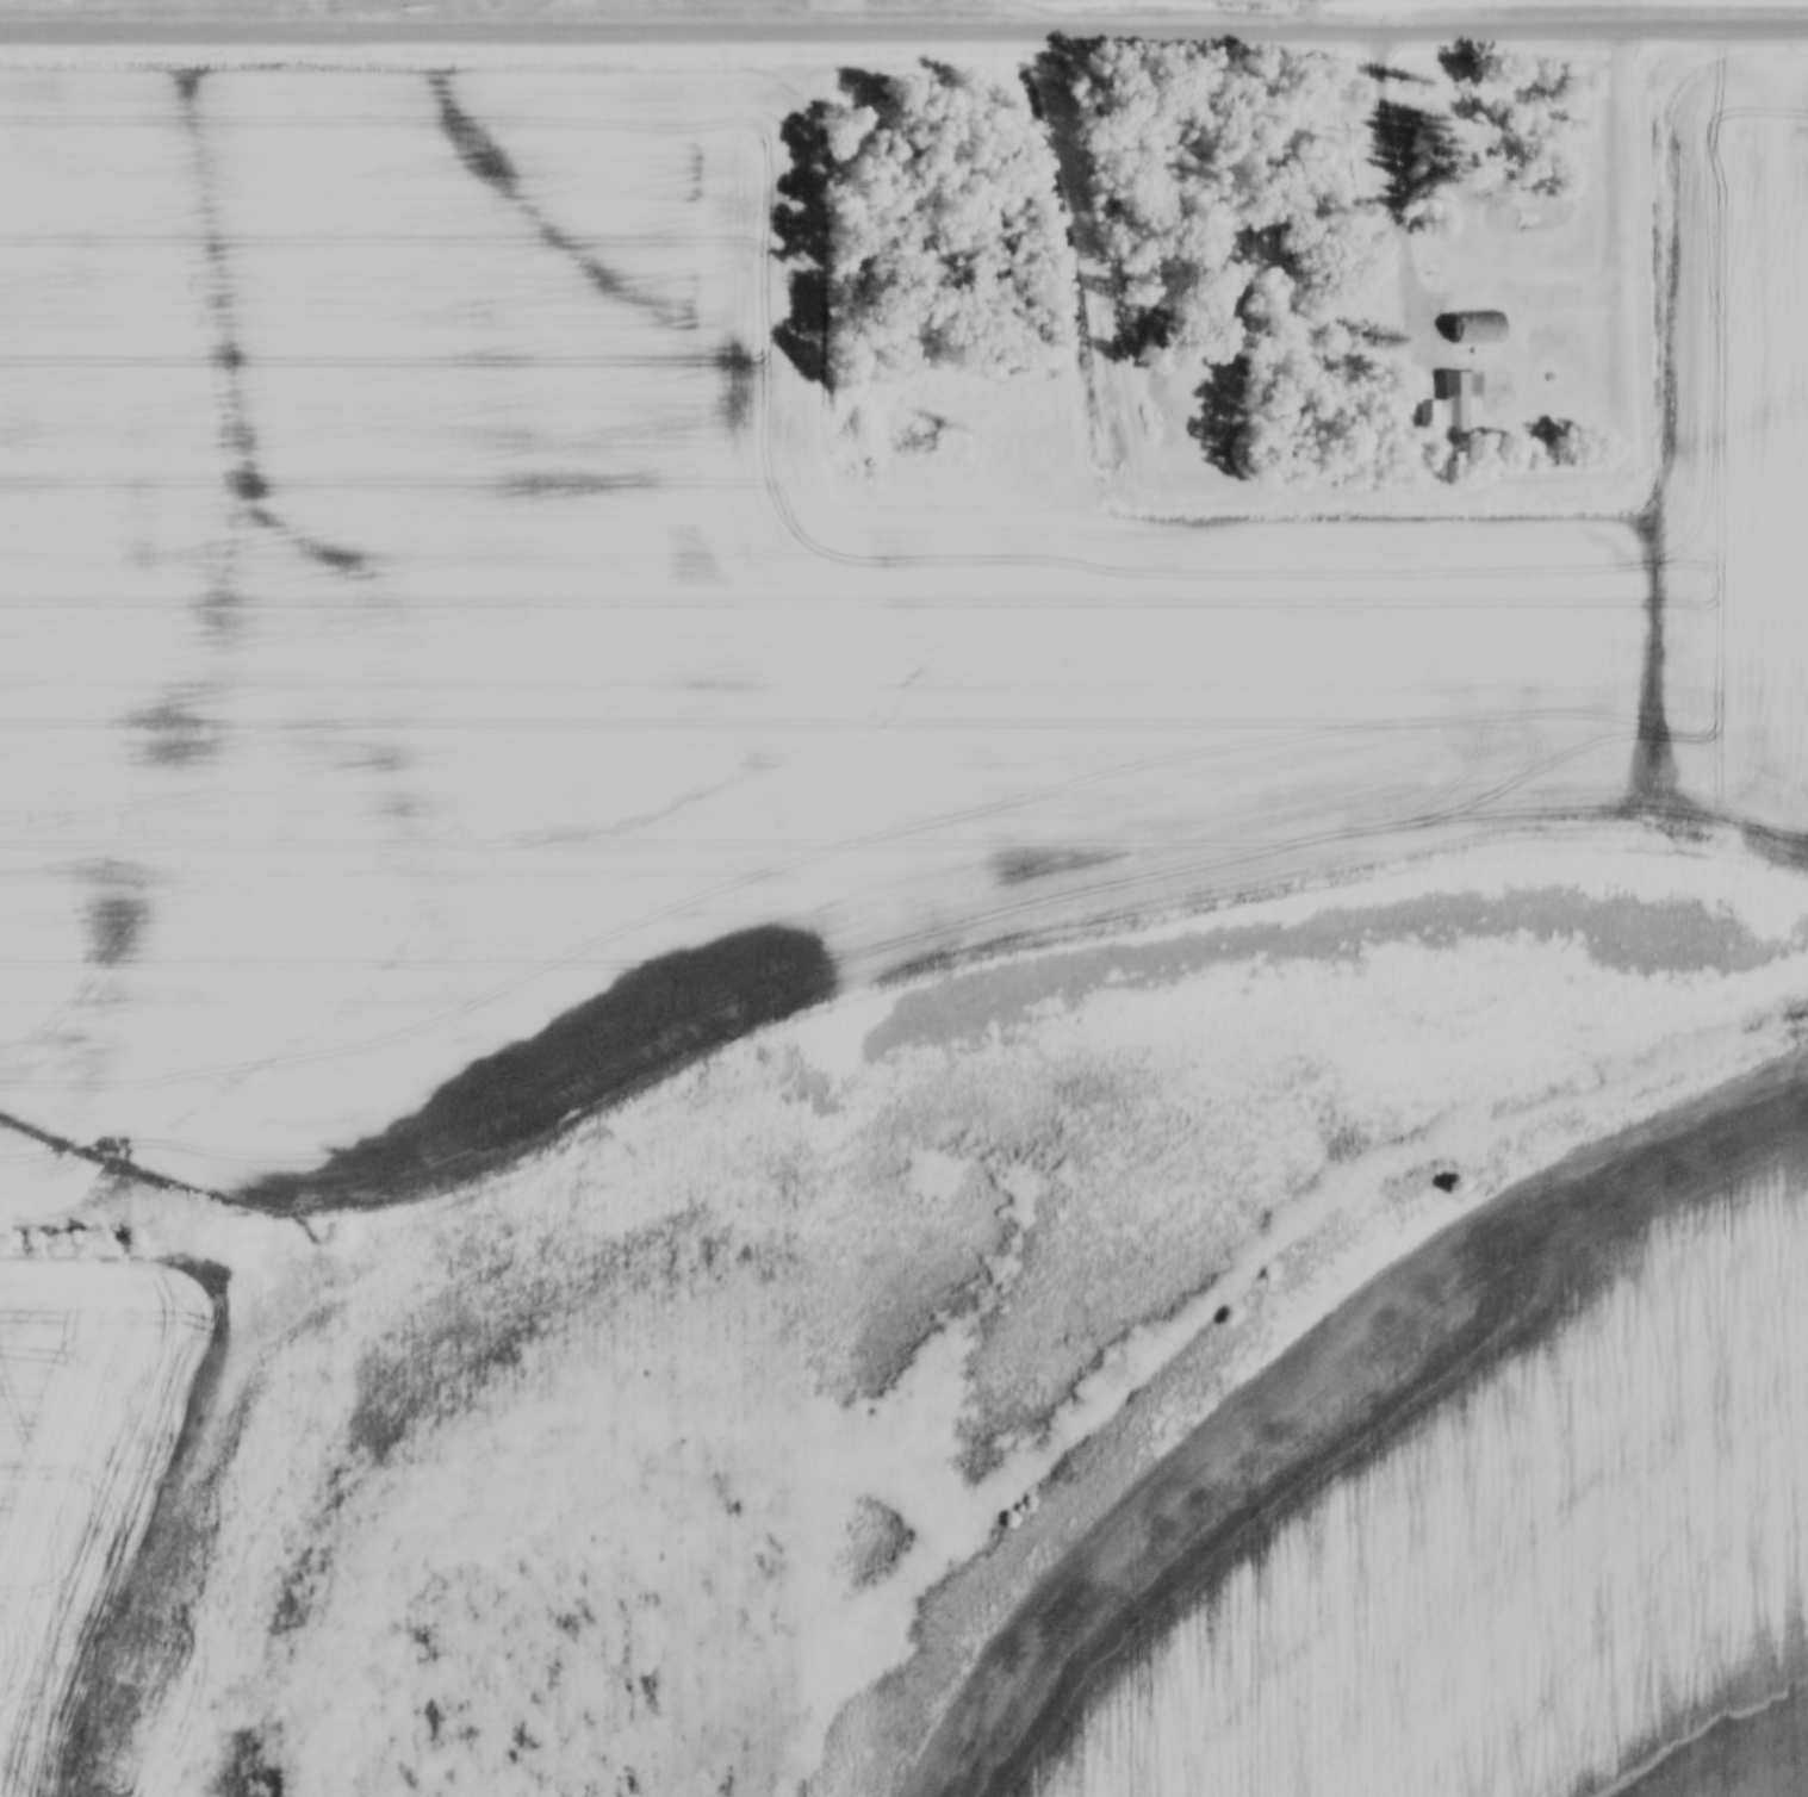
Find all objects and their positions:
road: (903, 37)
road: (1399, 195)
building: (1322, 261)
building: (1473, 329)
road: (1490, 368)
building: (1546, 373)
road: (1489, 381)
road: (1505, 385)
road: (1491, 391)
park: (1512, 391)
road: (1477, 397)
road: (1497, 399)
building: (1446, 403)
road: (1508, 408)

